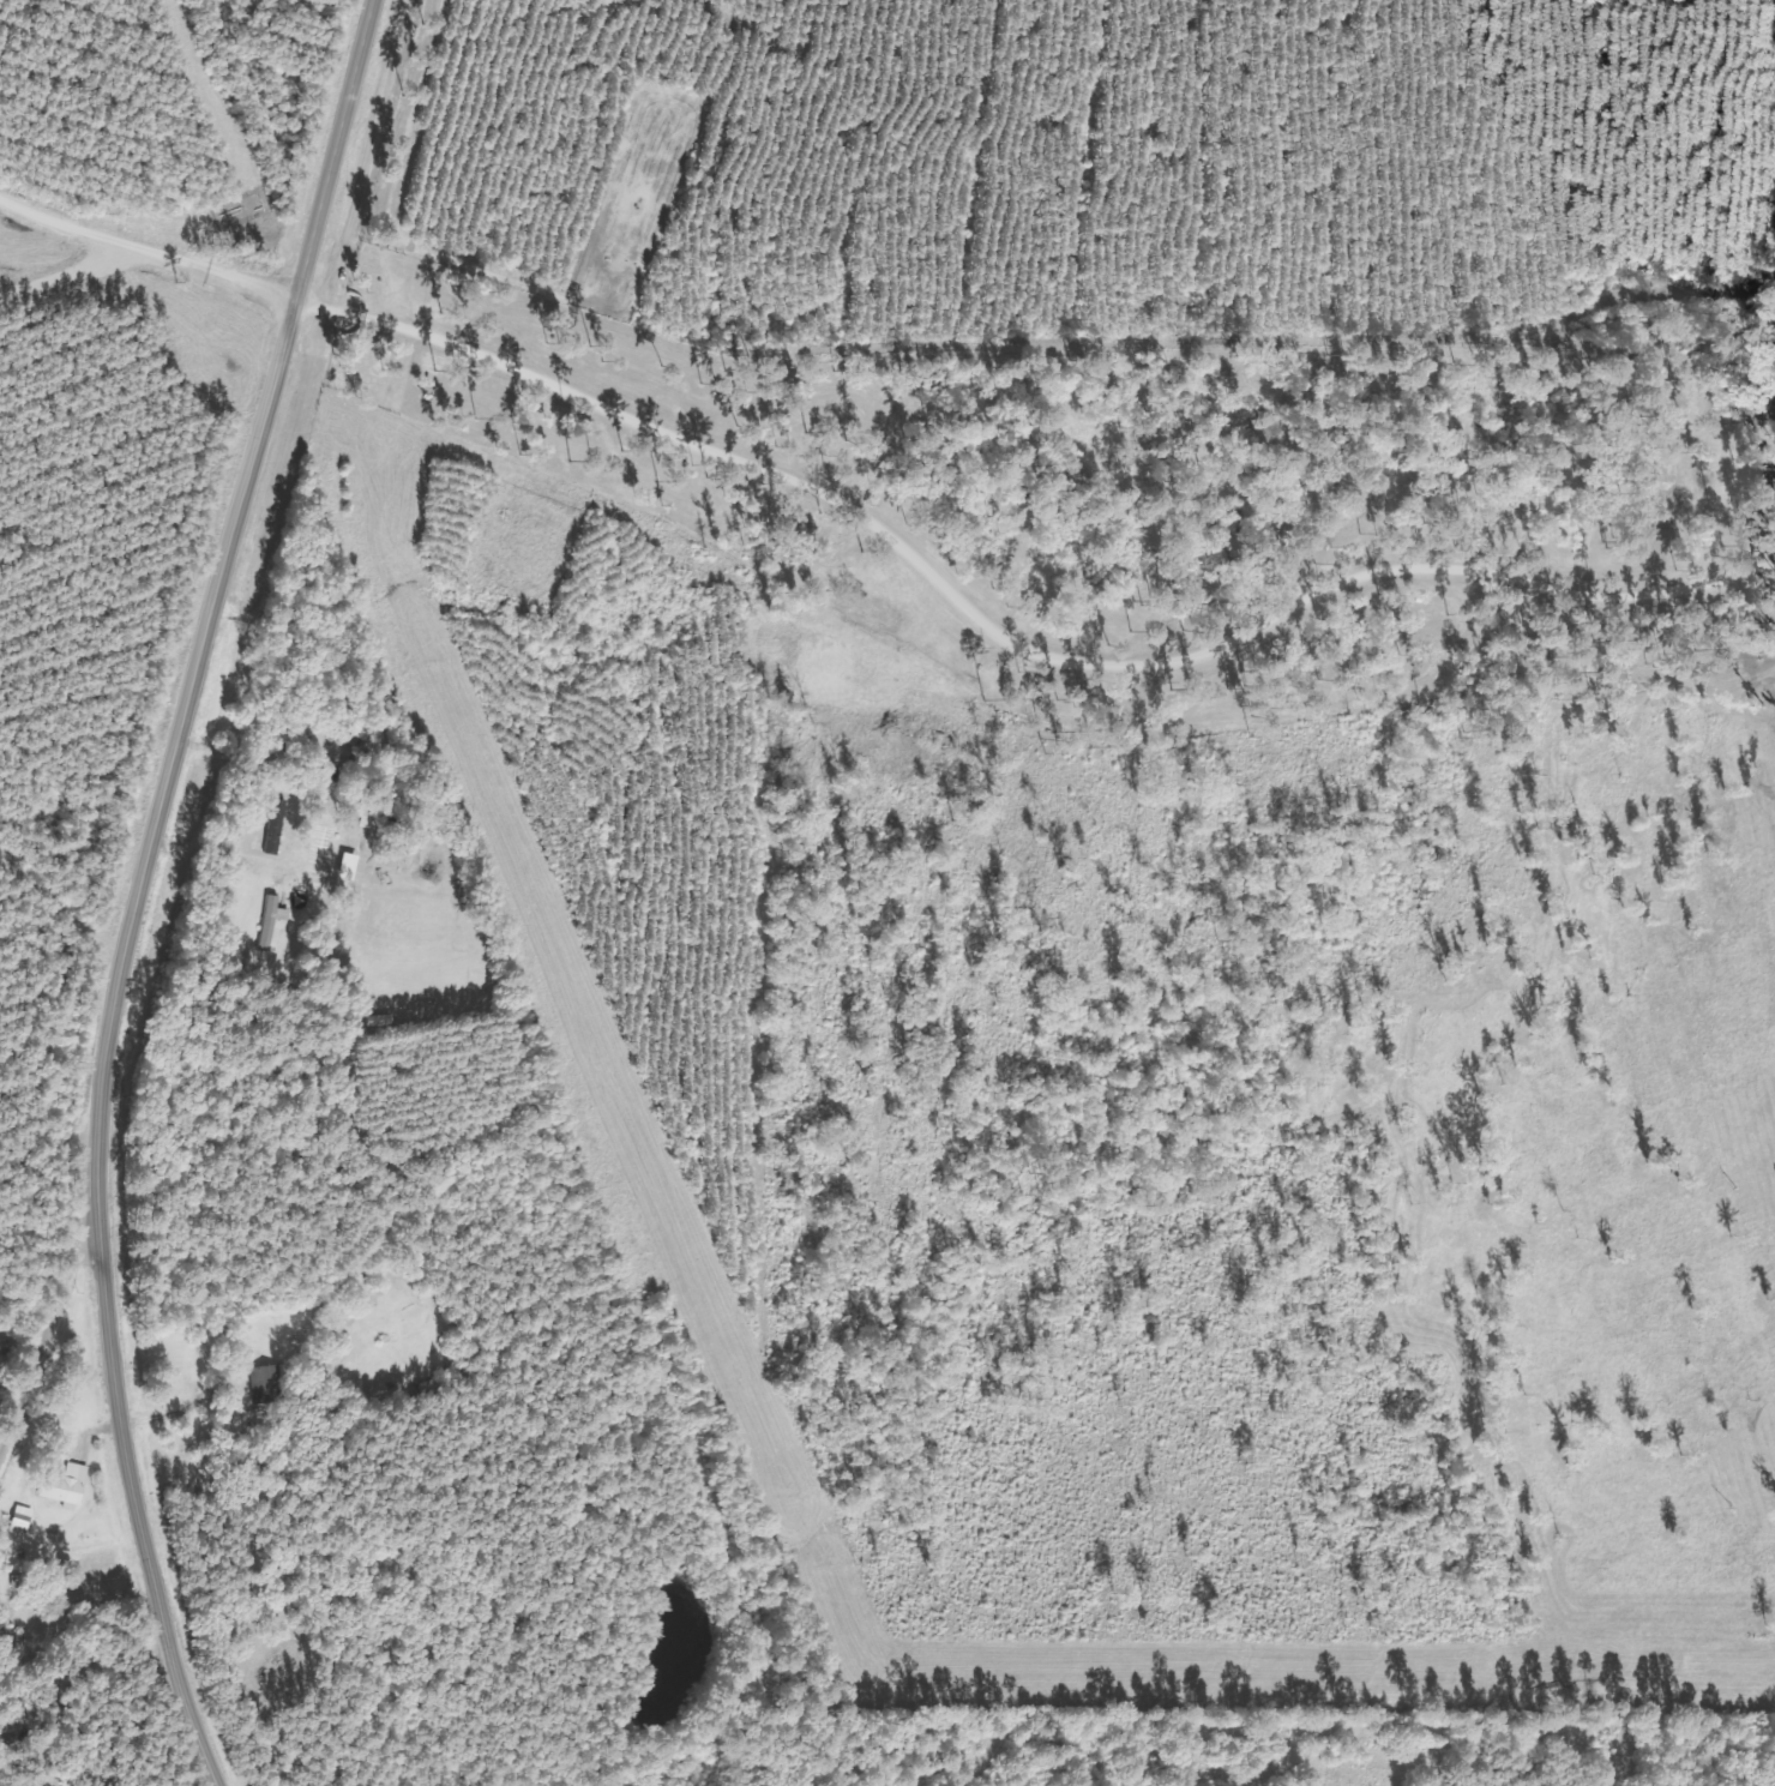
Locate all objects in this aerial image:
road: (1007, 643)
building: (283, 832)
building: (335, 860)
road: (139, 888)
building: (283, 910)
road: (44, 1339)
building: (2, 1372)
building: (272, 1385)
building: (74, 1486)
building: (29, 1521)

